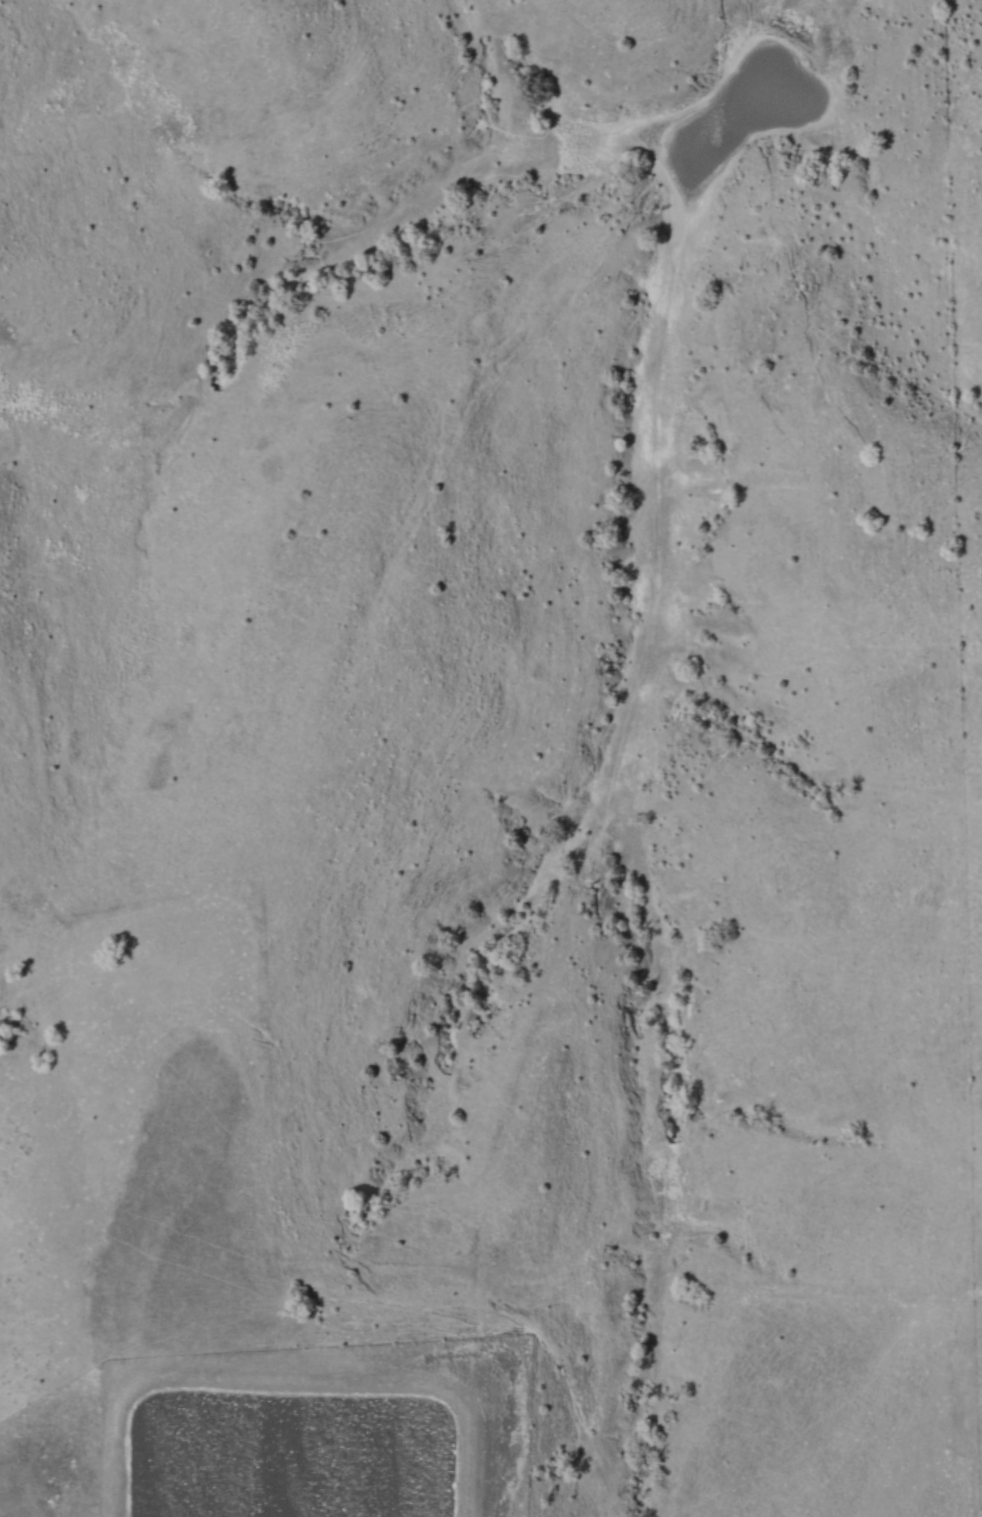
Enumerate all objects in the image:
wastewater plant: (276, 1433)

